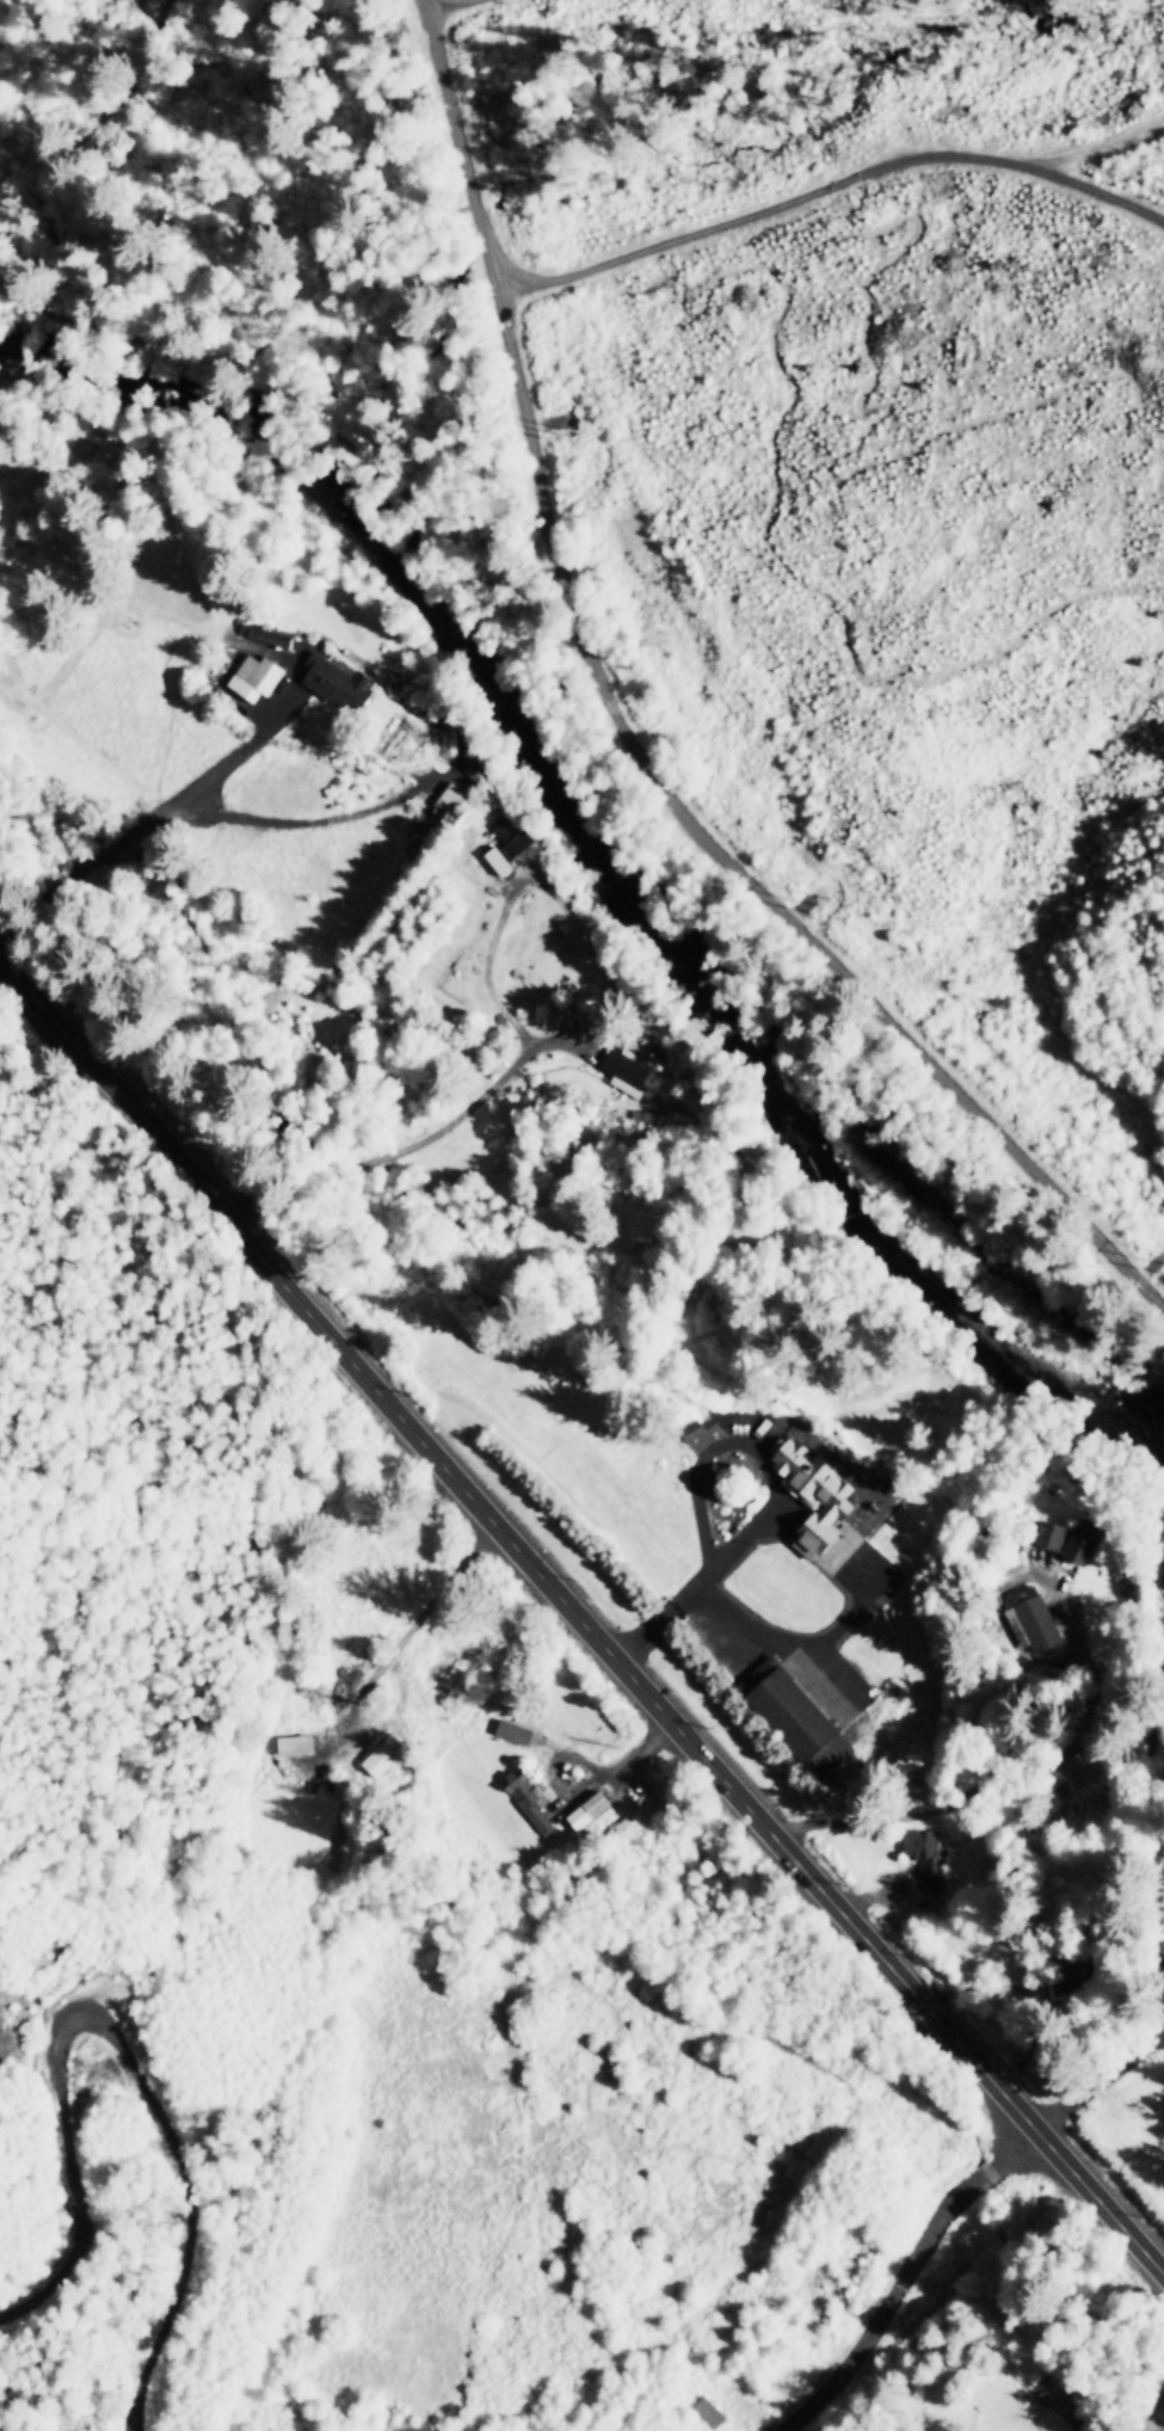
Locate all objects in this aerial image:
road: (433, 2)
road: (230, 76)
road: (1091, 147)
road: (833, 183)
road: (27, 296)
road: (56, 306)
road: (885, 405)
road: (769, 524)
building: (267, 634)
building: (253, 675)
building: (335, 681)
road: (636, 743)
building: (445, 799)
building: (505, 842)
river: (591, 845)
building: (634, 1067)
building: (813, 1493)
building: (1067, 1535)
building: (1162, 1567)
building: (1030, 1617)
road: (579, 1621)
building: (794, 1715)
building: (512, 1729)
building: (292, 1742)
building: (381, 1753)
building: (526, 1798)
building: (590, 1810)
building: (922, 1851)
road: (1162, 1925)
quarry: (73, 1998)
road: (148, 2079)
road: (1101, 2079)
road: (903, 2273)
building: (708, 2410)
quarry: (515, 2423)

